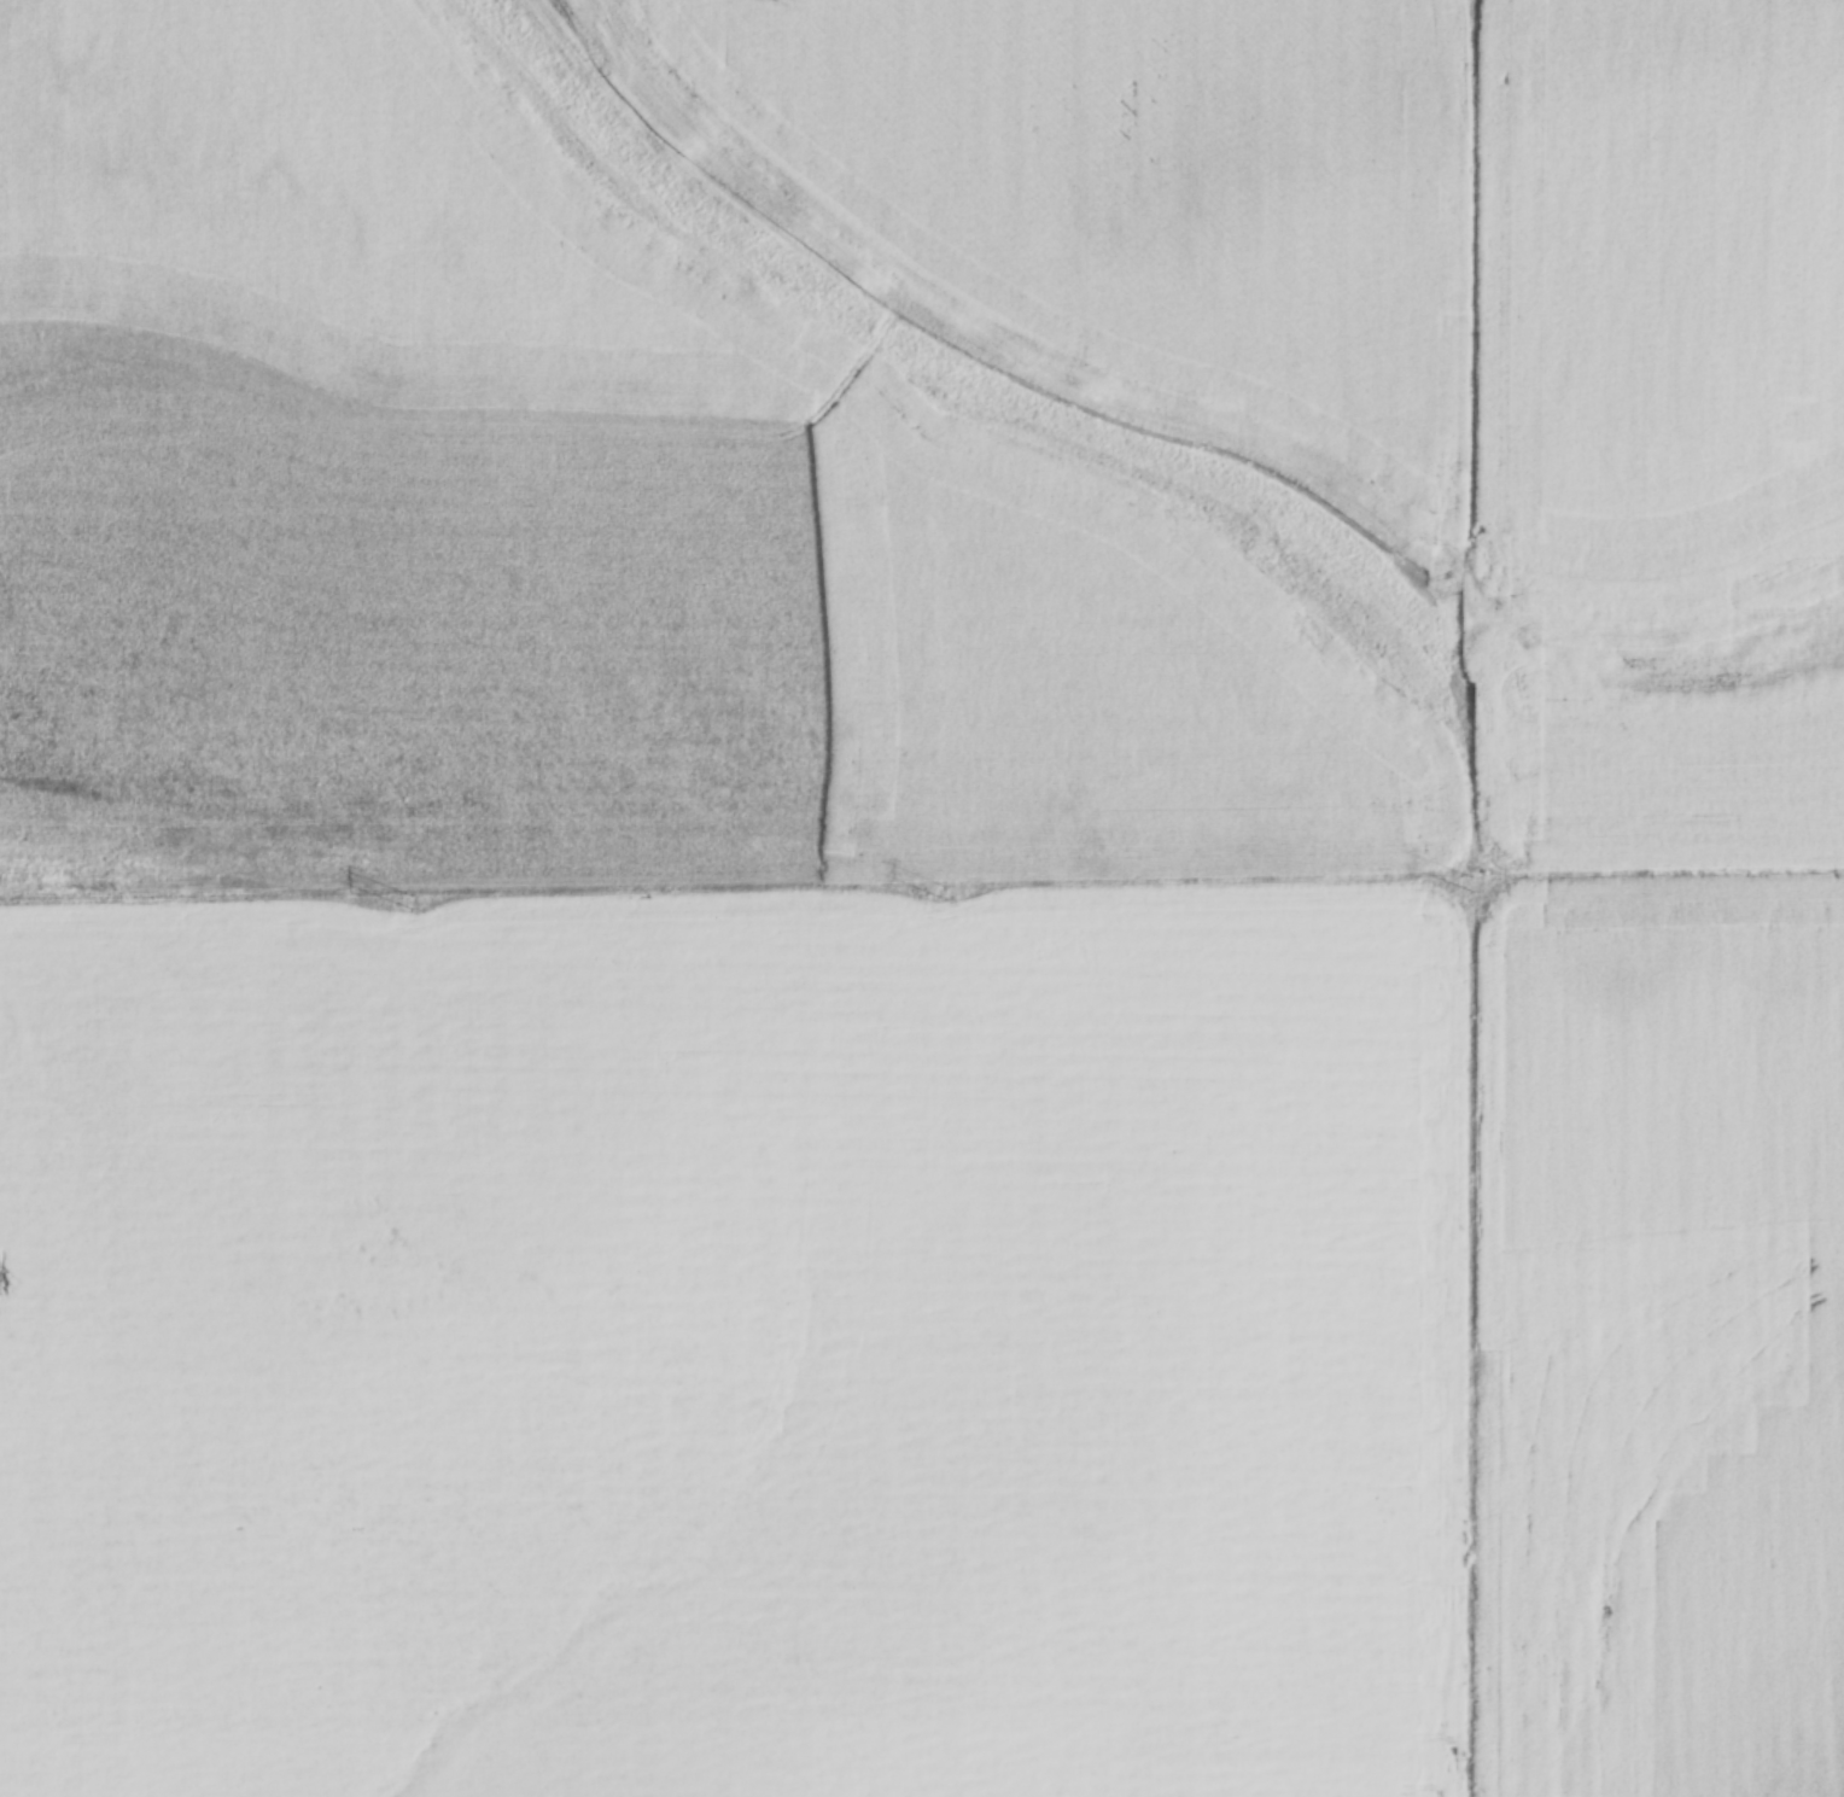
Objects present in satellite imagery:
power tower: (1471, 886)
power tower: (950, 895)
power tower: (416, 905)

